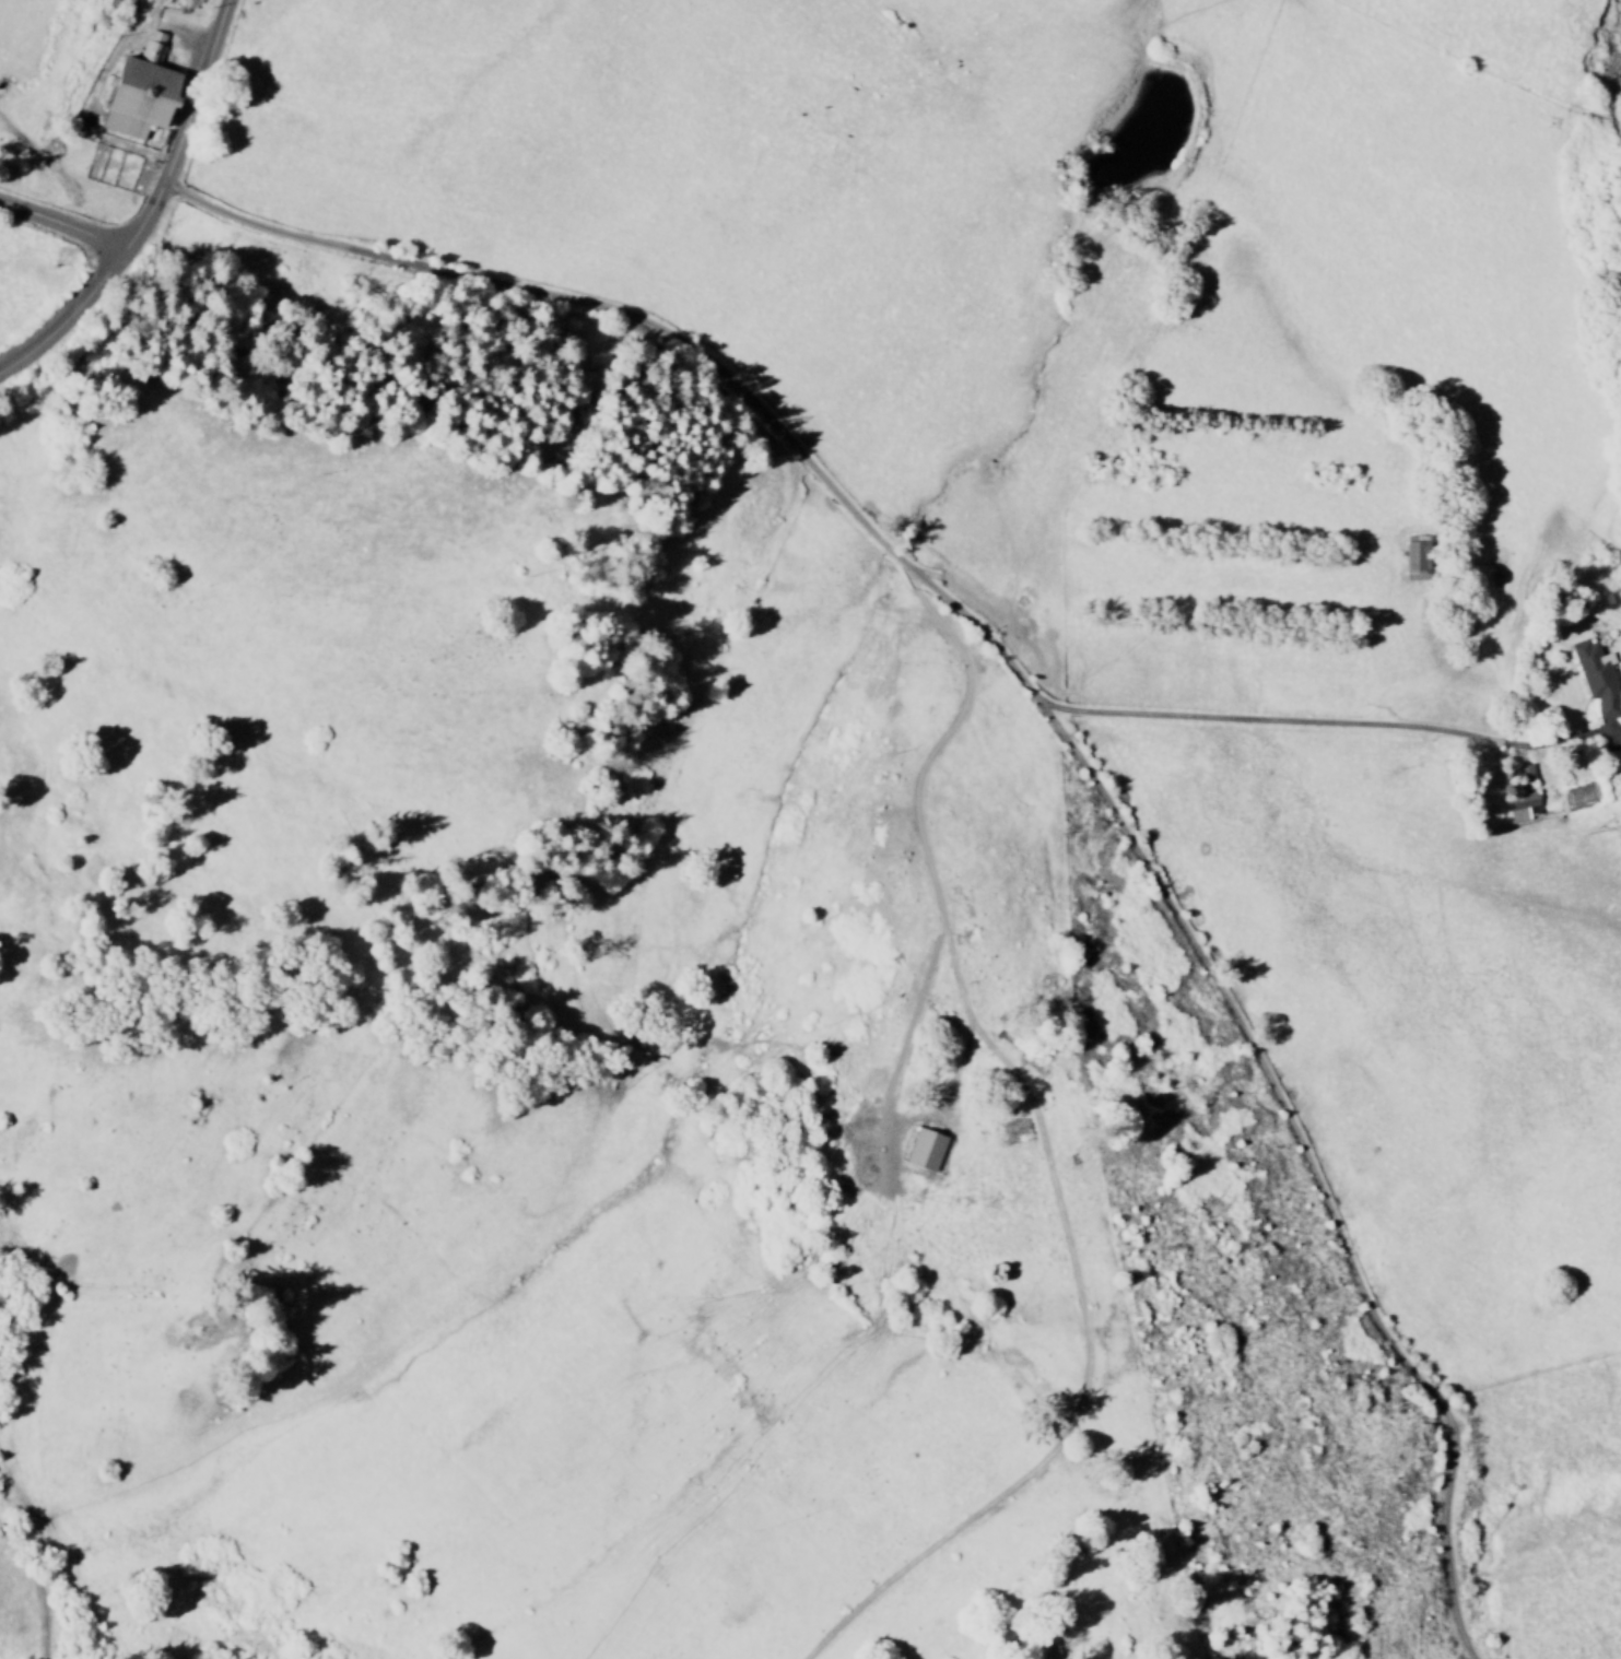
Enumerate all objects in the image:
building: (134, 91)
road: (193, 92)
road: (96, 237)
road: (67, 315)
road: (666, 332)
building: (1410, 557)
building: (1594, 678)
road: (1279, 720)
building: (1523, 775)
building: (1519, 807)
road: (1041, 1143)
building: (923, 1151)
road: (1307, 1165)

